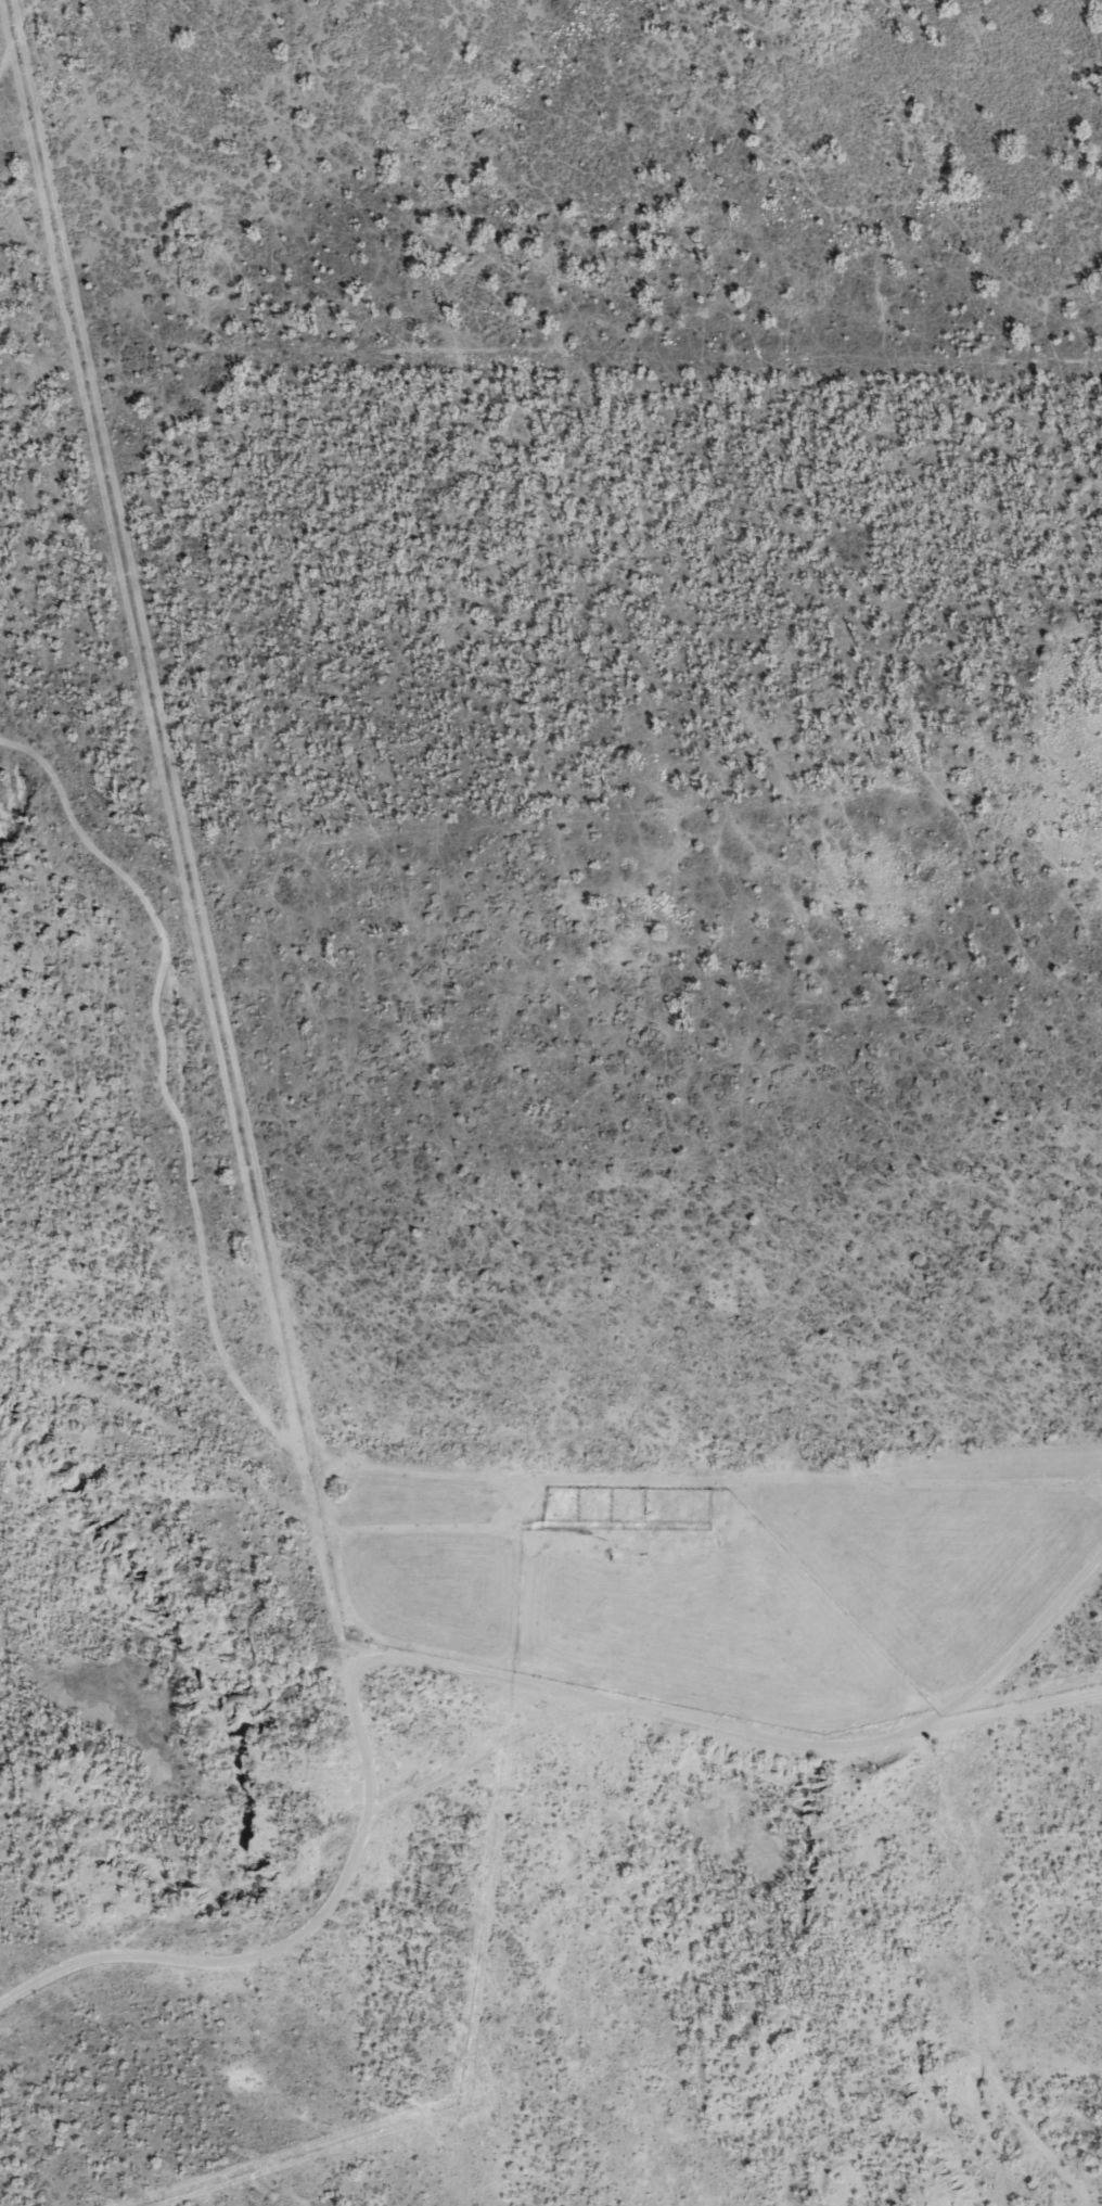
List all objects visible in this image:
road: (16, 46)
road: (296, 1469)

